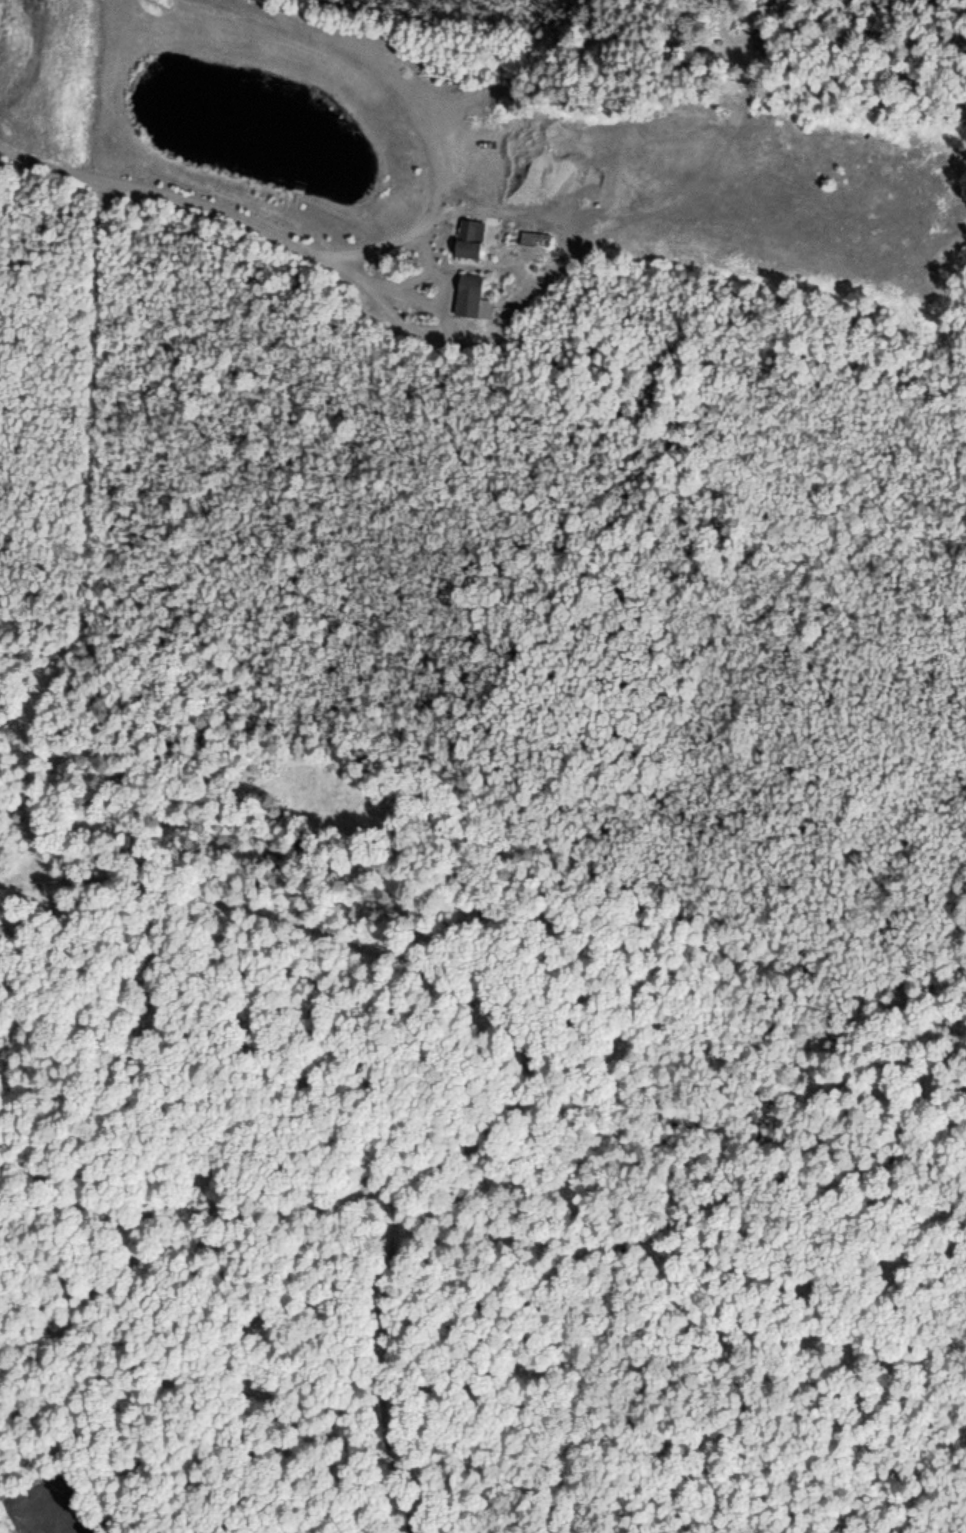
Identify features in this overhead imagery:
quarry: (484, 143)
road: (197, 202)
road: (444, 290)

